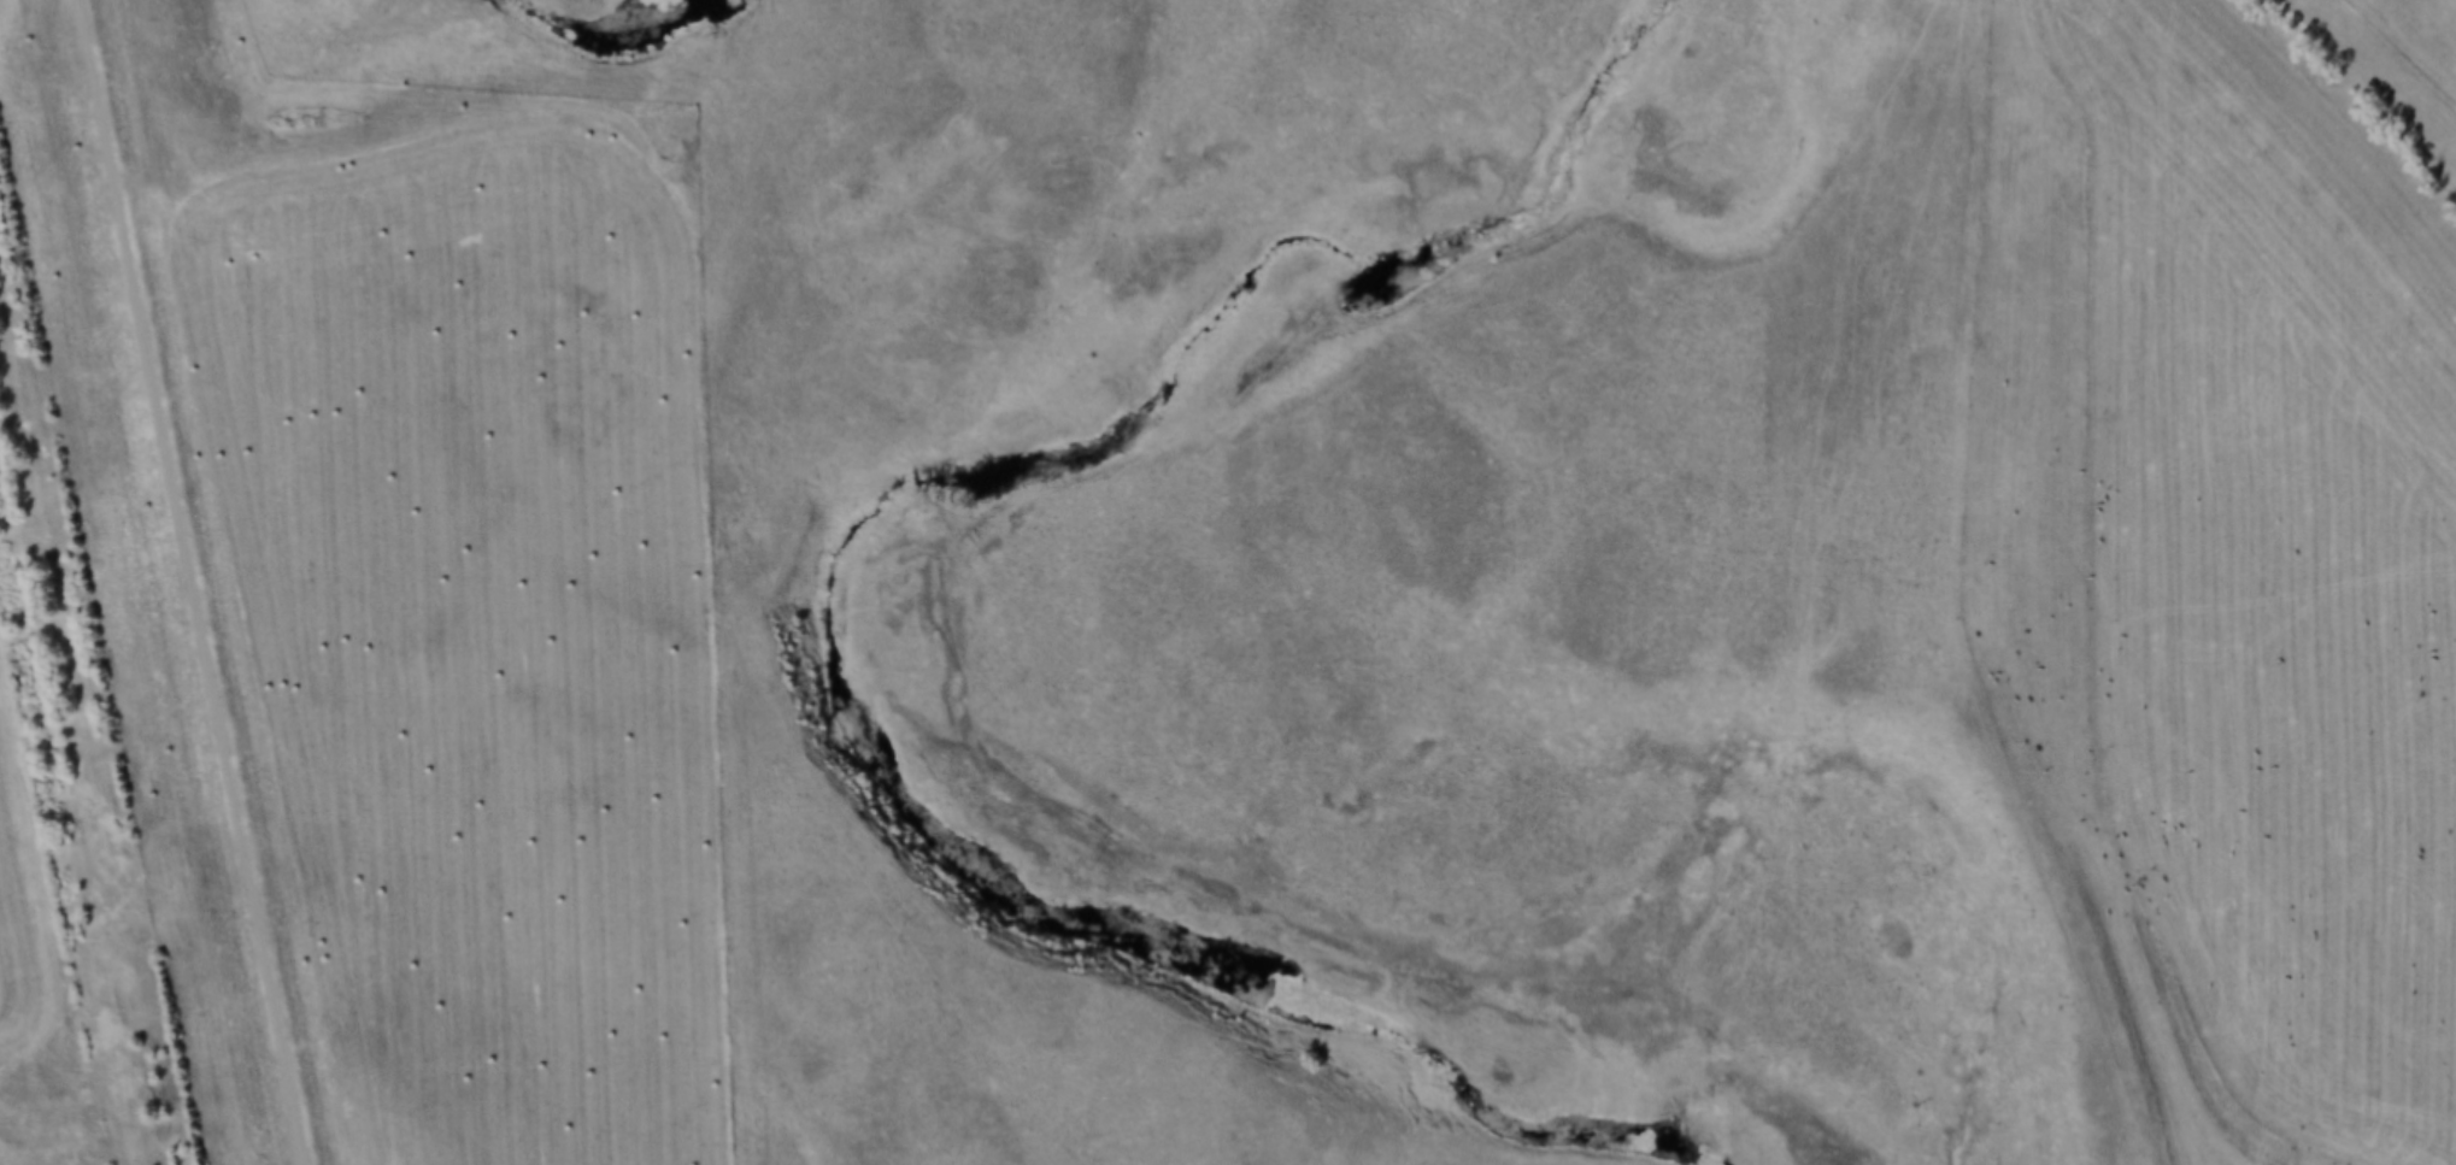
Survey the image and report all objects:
road: (194, 582)

